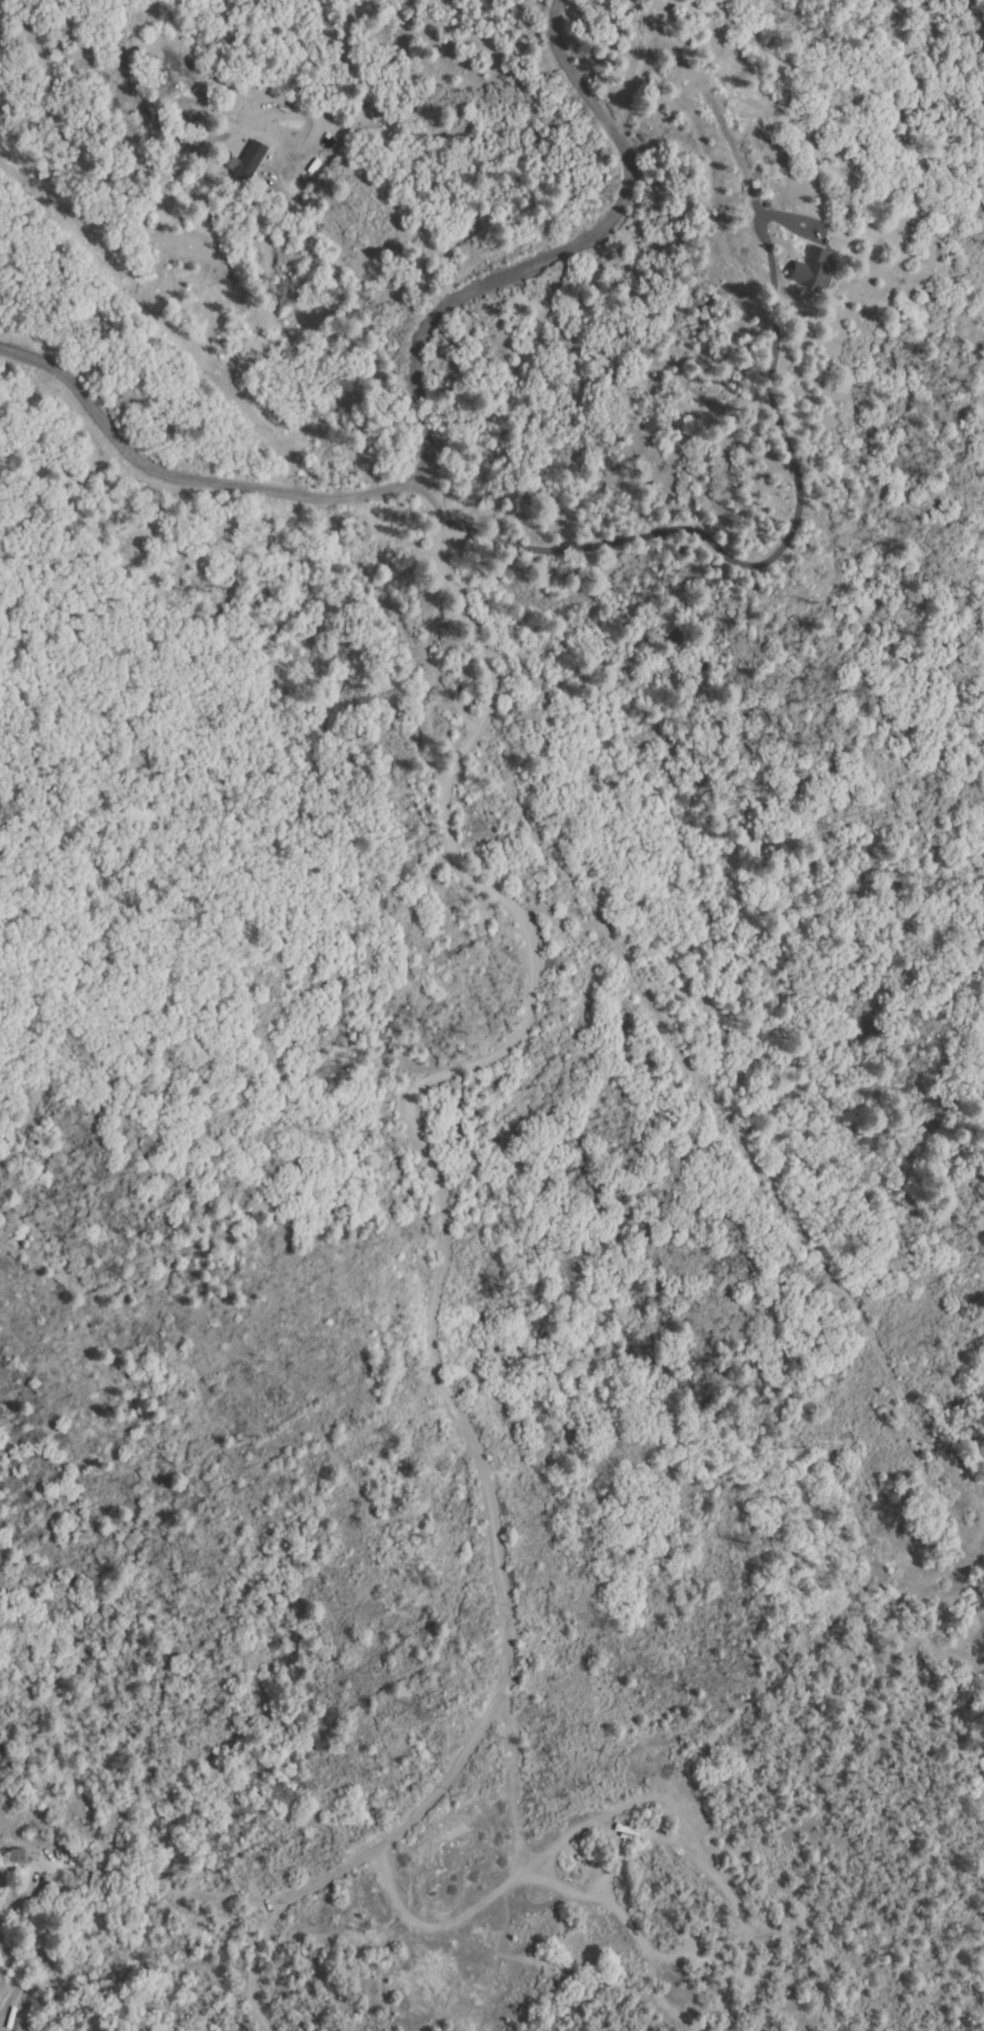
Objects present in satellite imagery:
building: (244, 173)
road: (552, 252)
building: (812, 268)
road: (185, 475)
road: (447, 1248)
building: (12, 1858)

